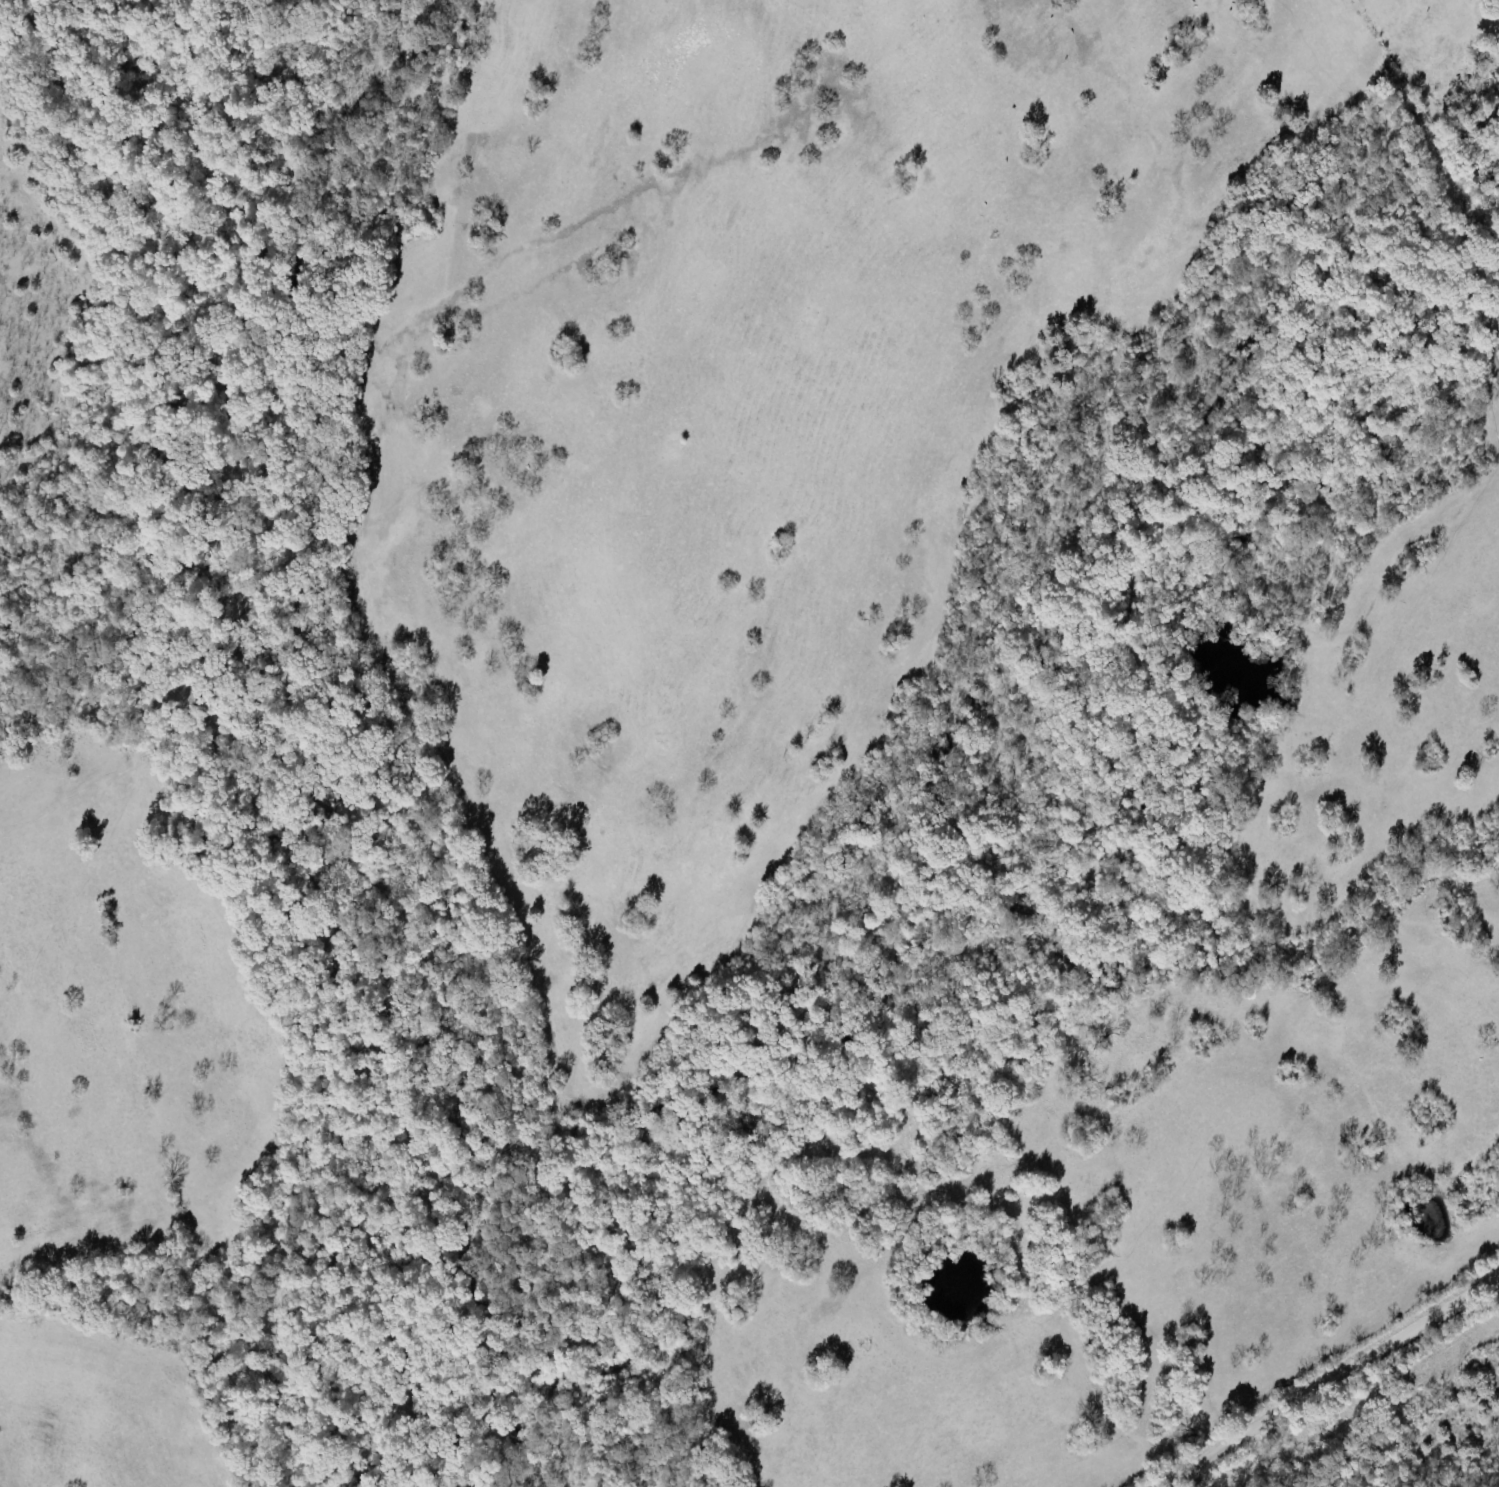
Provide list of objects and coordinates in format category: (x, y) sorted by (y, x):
road: (1334, 1382)

